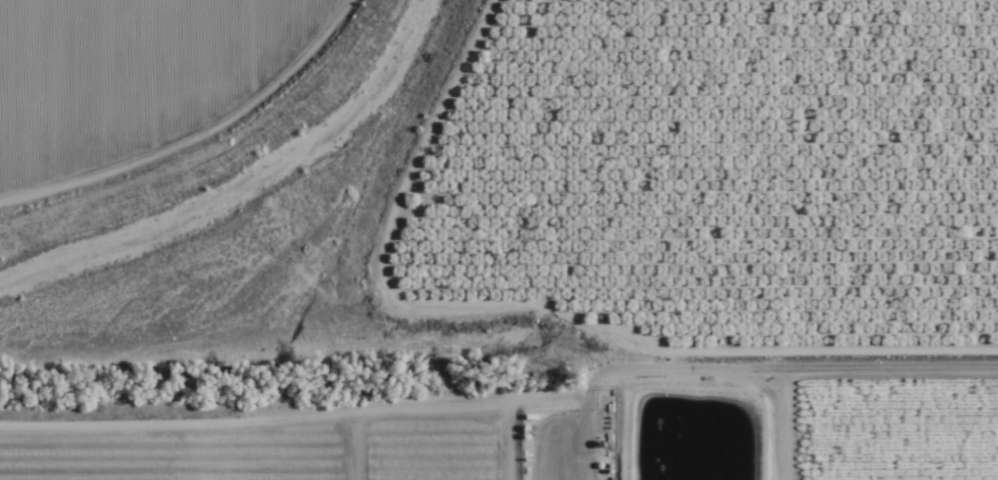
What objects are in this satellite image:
crop: (144, 69)
road: (307, 160)
crop: (741, 200)
road: (867, 341)
crop: (251, 434)
wastewater plant: (698, 443)

